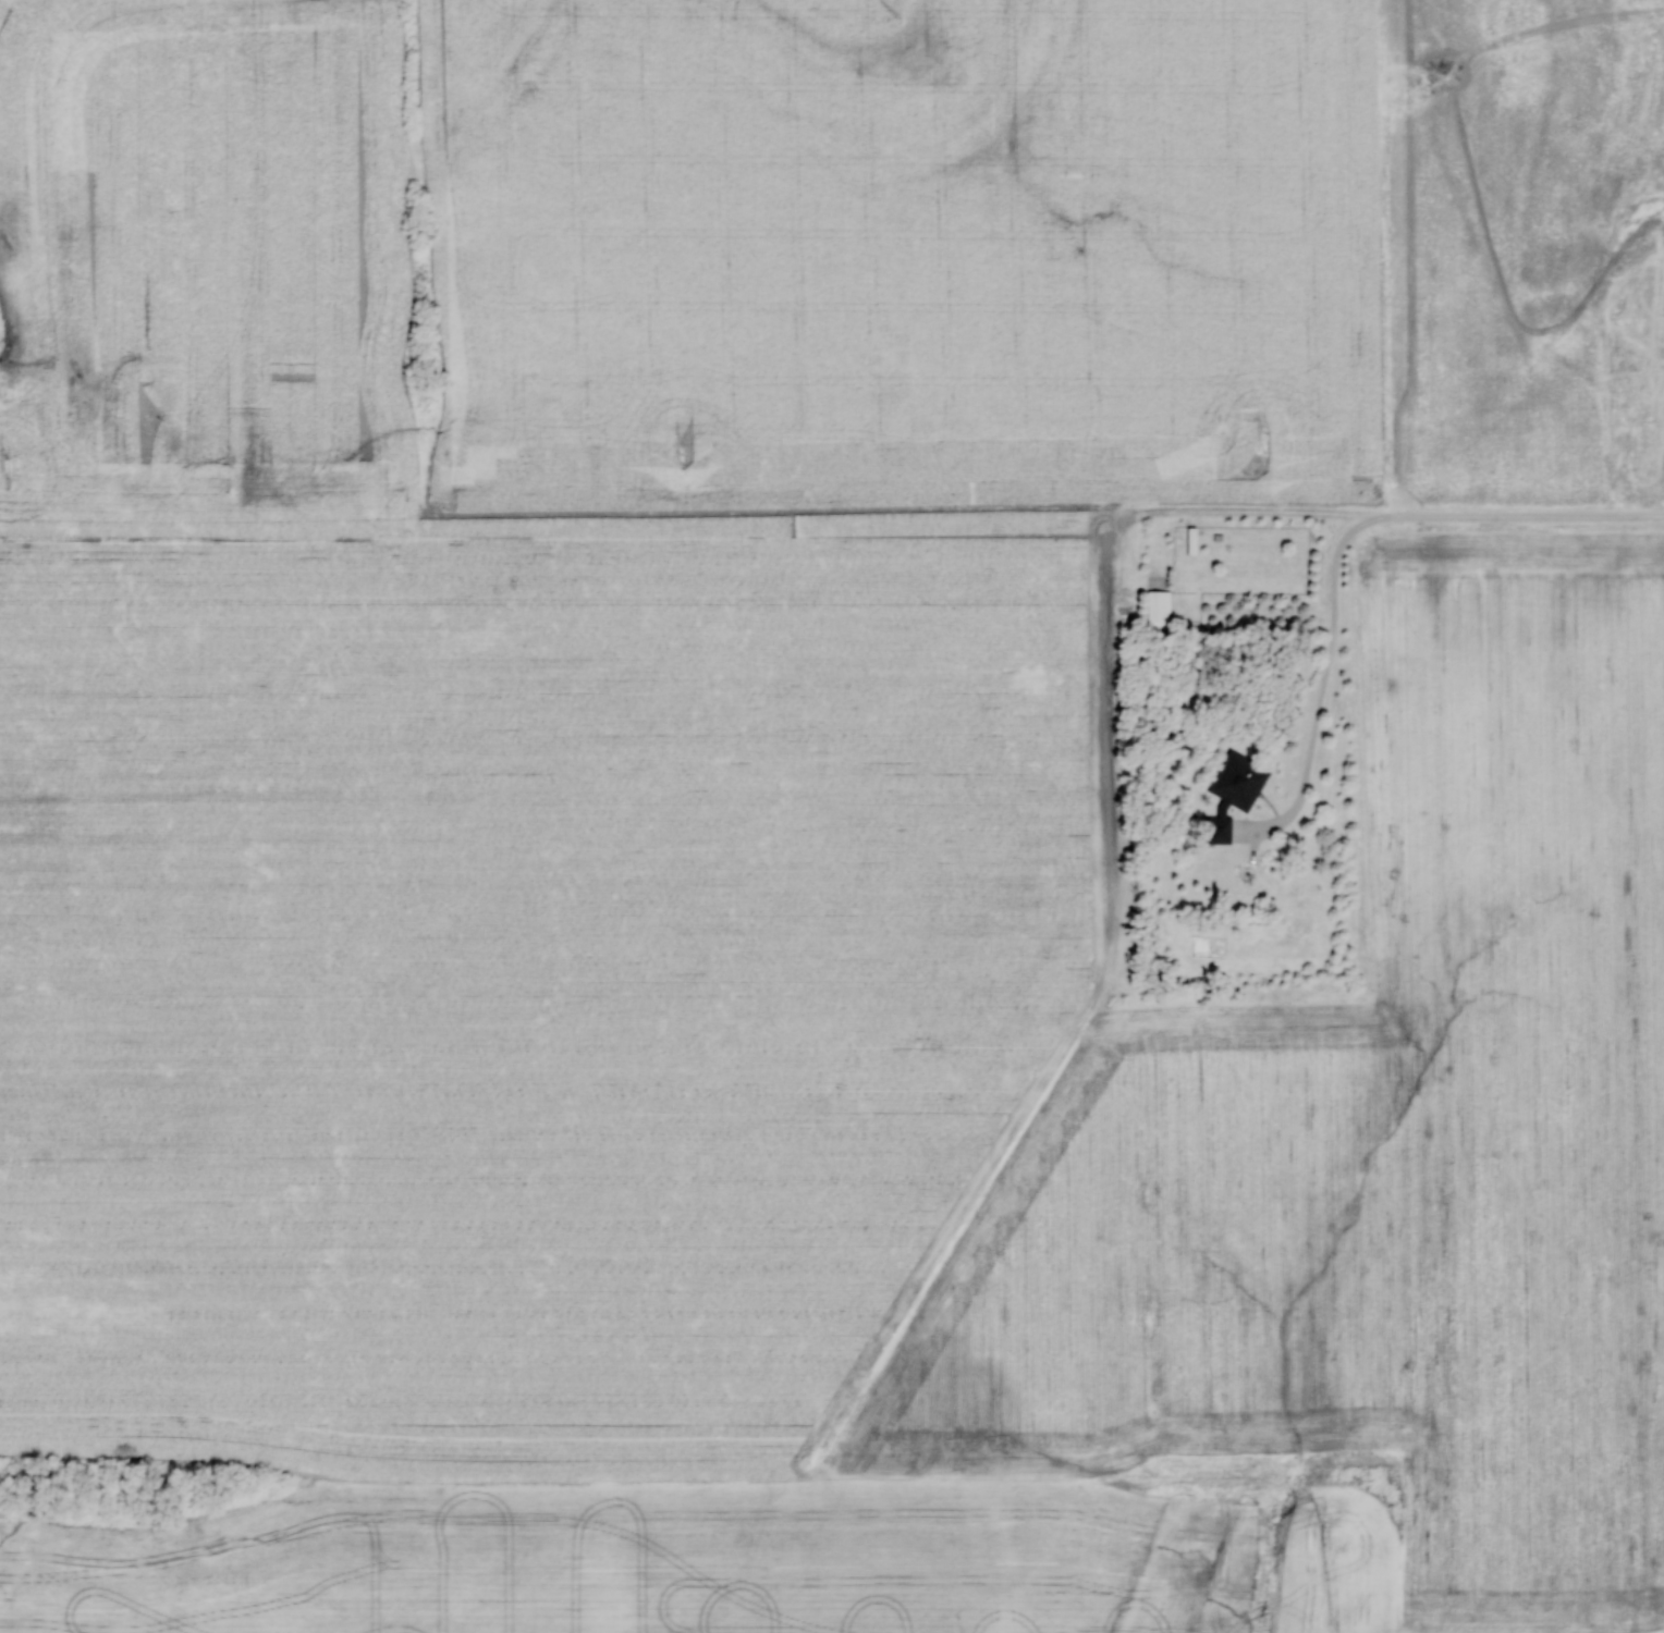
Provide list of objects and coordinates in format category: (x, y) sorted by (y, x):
power tower: (1262, 439)
power tower: (682, 450)
power tower: (5, 467)
building: (1159, 606)
building: (1234, 790)

